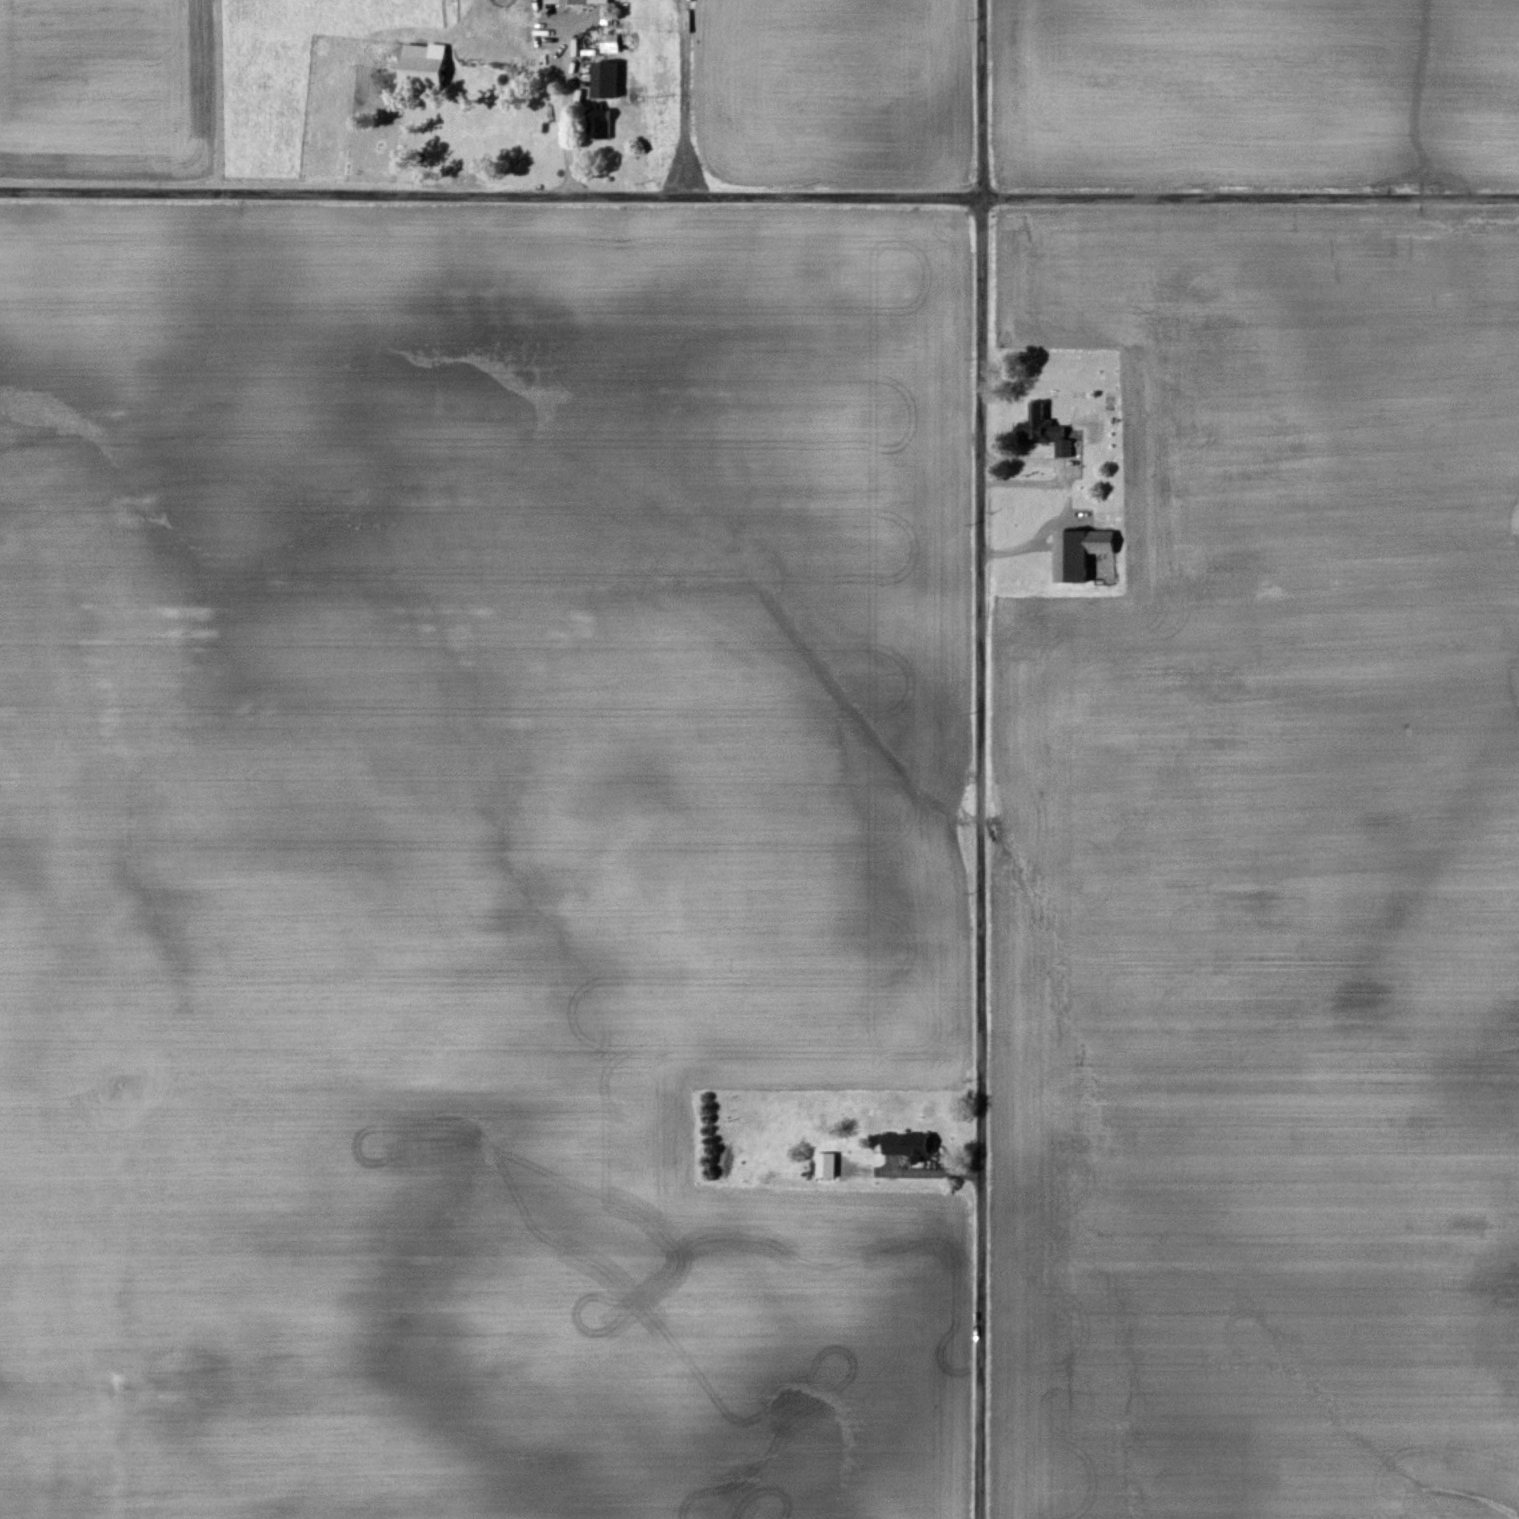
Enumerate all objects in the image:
building: (574, 1)
building: (607, 43)
building: (419, 65)
building: (601, 79)
road: (561, 119)
road: (759, 196)
building: (1041, 431)
road: (1015, 482)
road: (1066, 496)
building: (1076, 553)
road: (968, 759)
building: (906, 1144)
building: (824, 1165)

